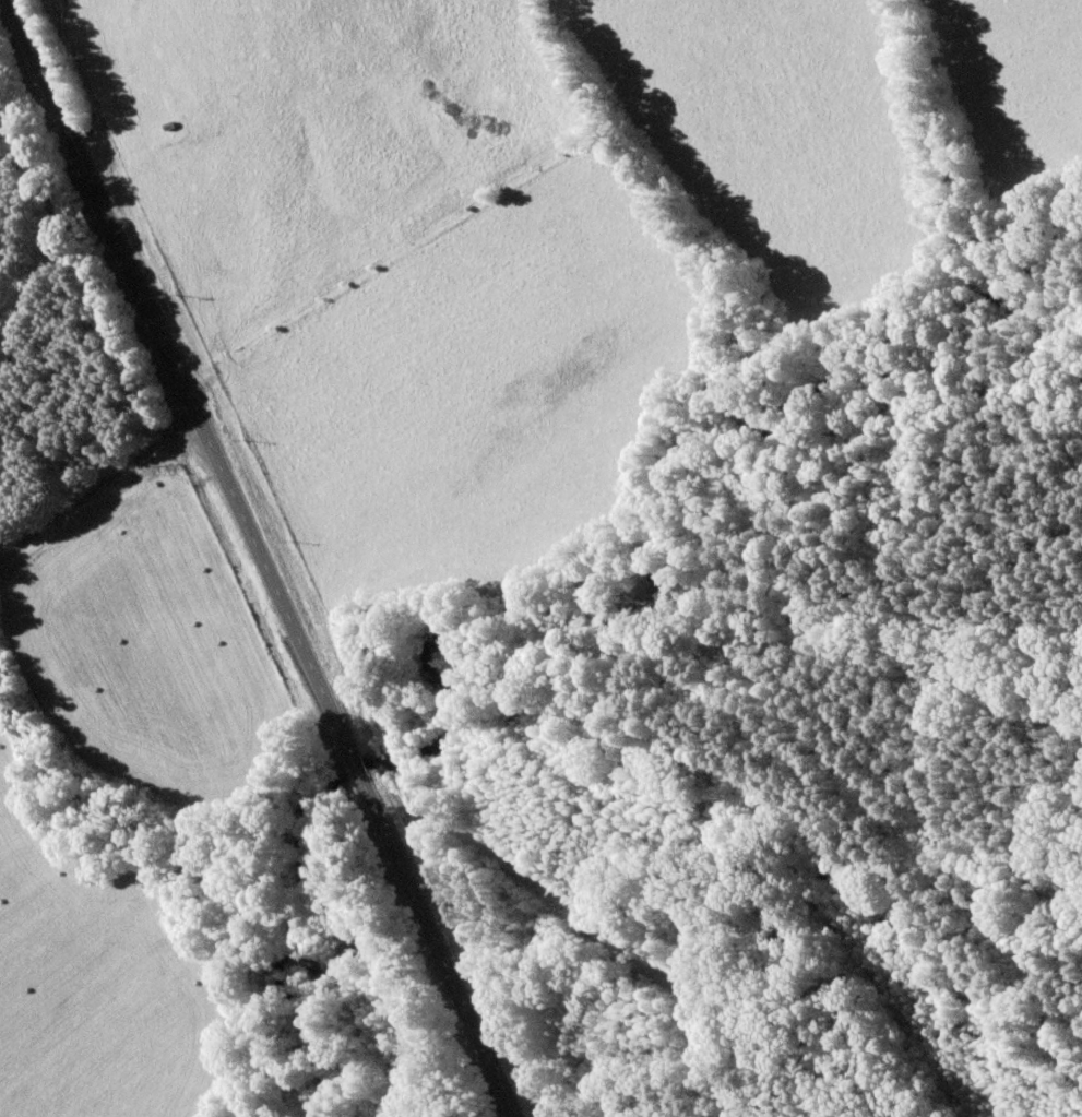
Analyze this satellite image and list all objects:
road: (211, 568)

